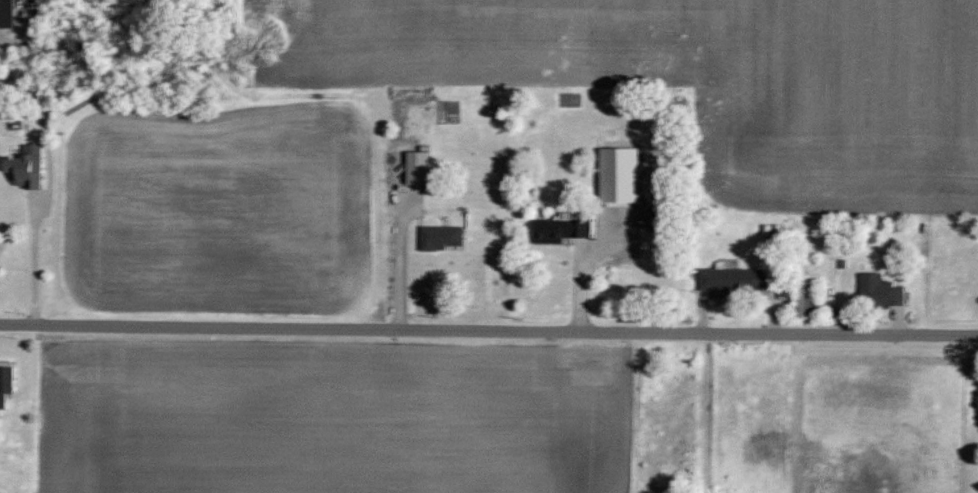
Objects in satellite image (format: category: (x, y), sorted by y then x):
building: (6, 14)
building: (25, 168)
building: (417, 168)
building: (618, 175)
building: (557, 230)
building: (441, 237)
road: (399, 259)
building: (732, 281)
building: (878, 290)
building: (802, 299)
road: (488, 330)
building: (6, 377)

